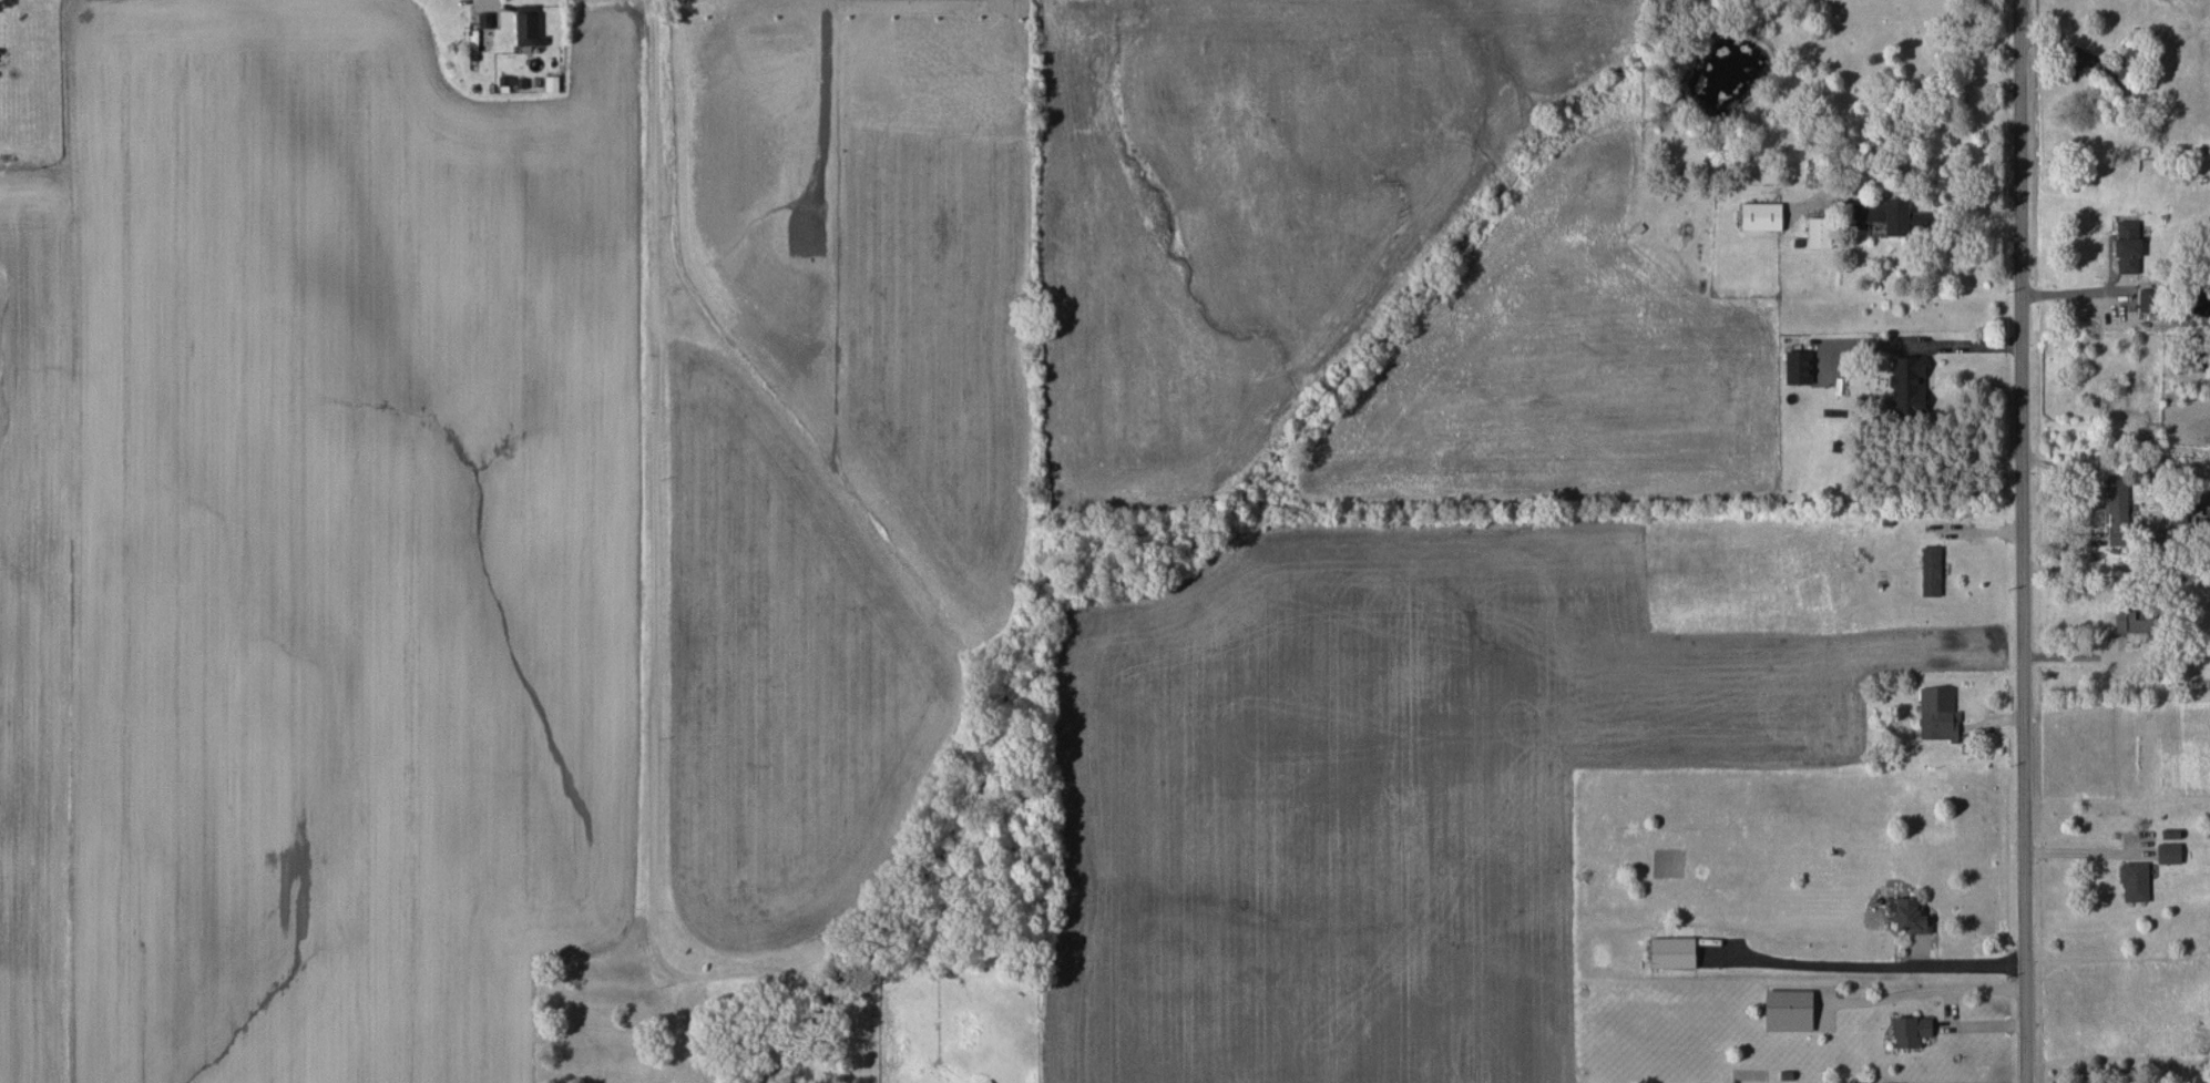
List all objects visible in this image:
building: (485, 20)
building: (528, 25)
building: (2118, 71)
building: (552, 84)
road: (1905, 110)
road: (1905, 180)
building: (1761, 216)
building: (1889, 217)
building: (1819, 233)
building: (2128, 246)
road: (2076, 293)
building: (2146, 300)
road: (1960, 346)
building: (1798, 367)
building: (1909, 385)
building: (2118, 510)
road: (2090, 511)
road: (2022, 541)
building: (1931, 571)
road: (655, 613)
building: (2132, 621)
road: (2079, 658)
building: (1937, 714)
road: (2080, 851)
building: (2169, 854)
building: (2135, 881)
building: (1911, 917)
building: (1672, 952)
road: (1962, 965)
road: (1952, 1007)
building: (1789, 1010)
building: (1911, 1031)

